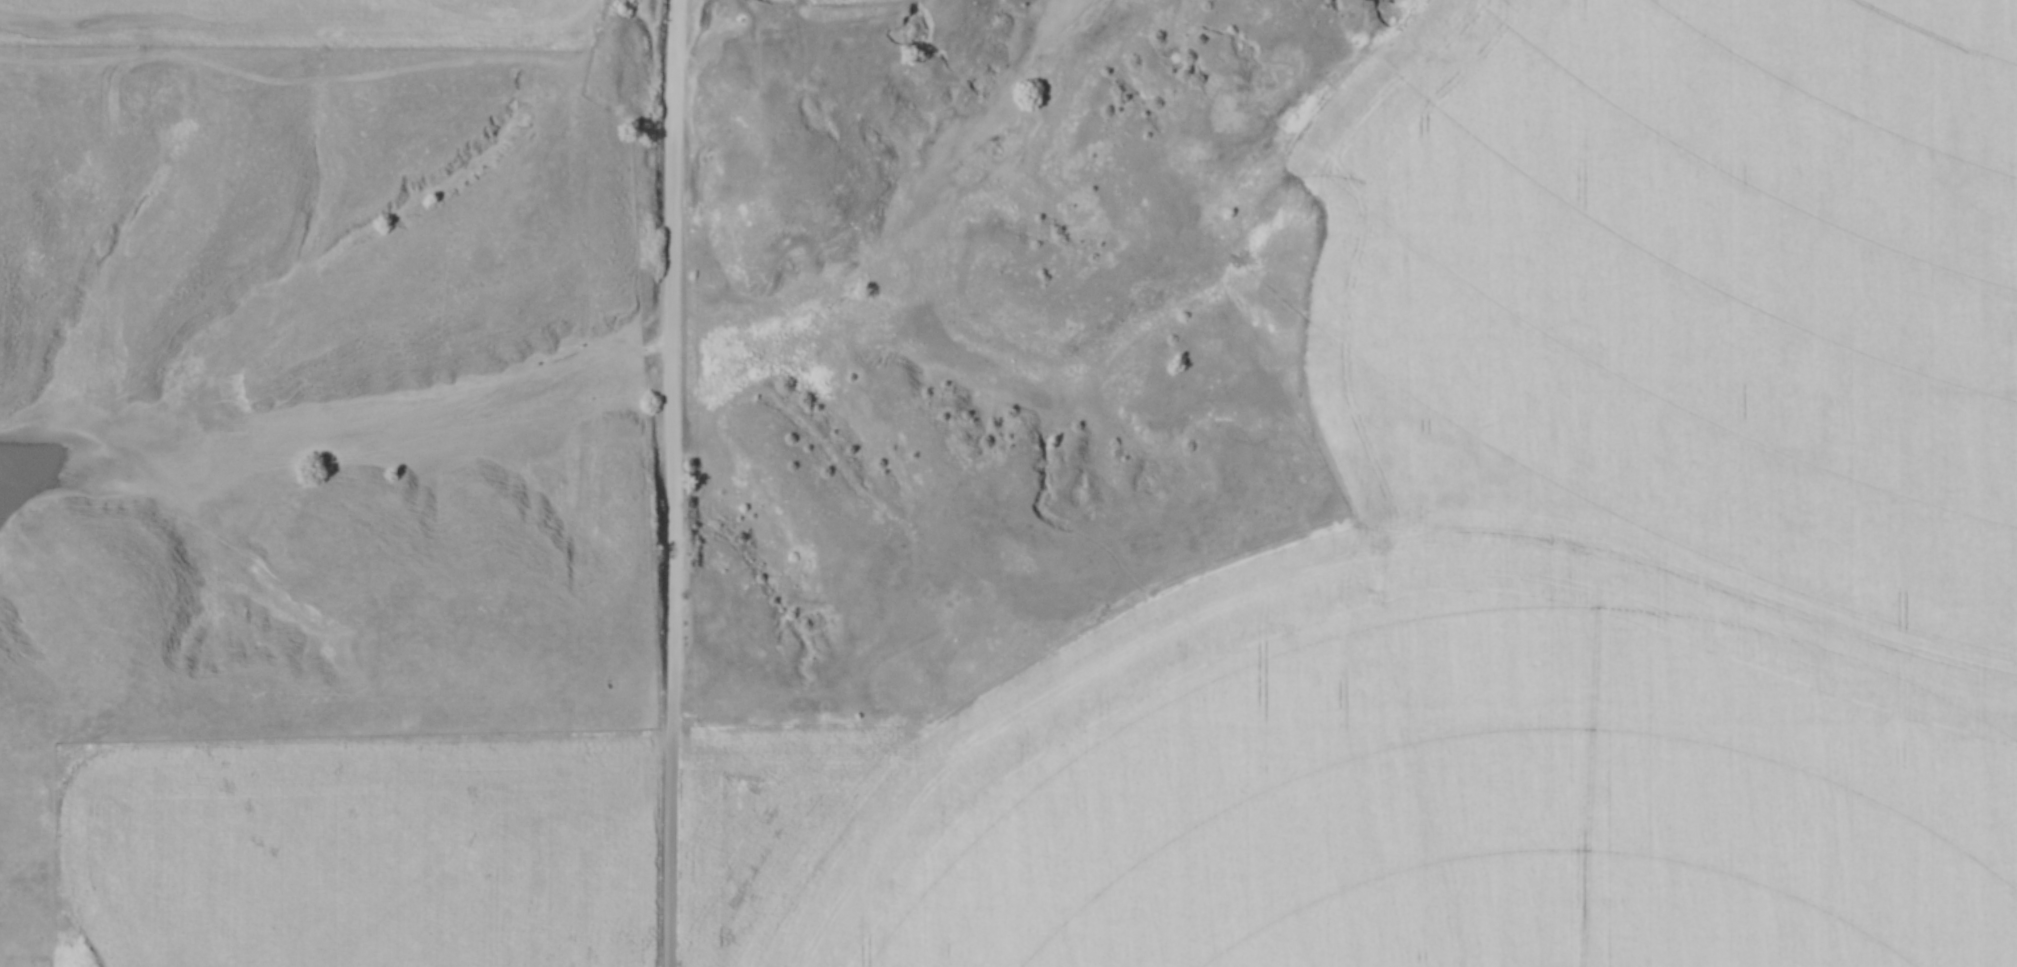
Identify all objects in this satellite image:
crop: (297, 17)
road: (673, 483)
crop: (366, 852)

